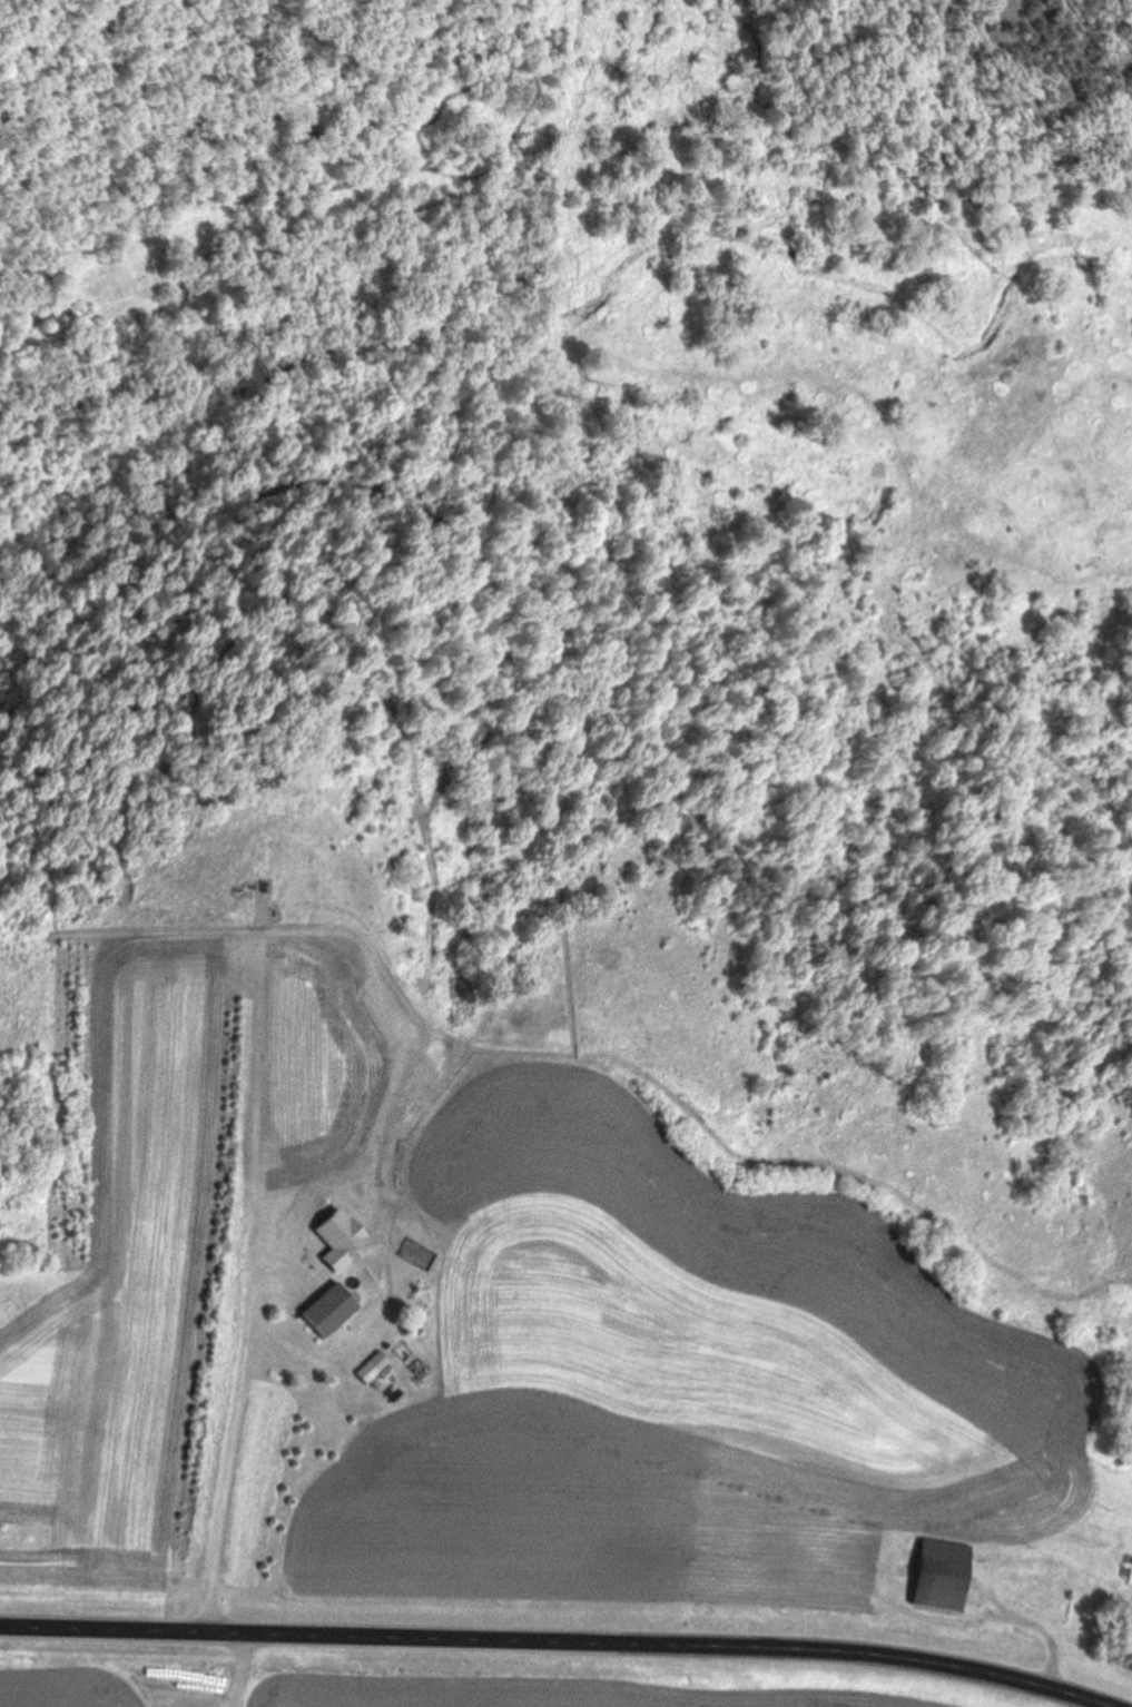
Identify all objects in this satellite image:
road: (250, 1284)
building: (324, 1310)
building: (376, 1362)
building: (937, 1576)
road: (558, 1640)

